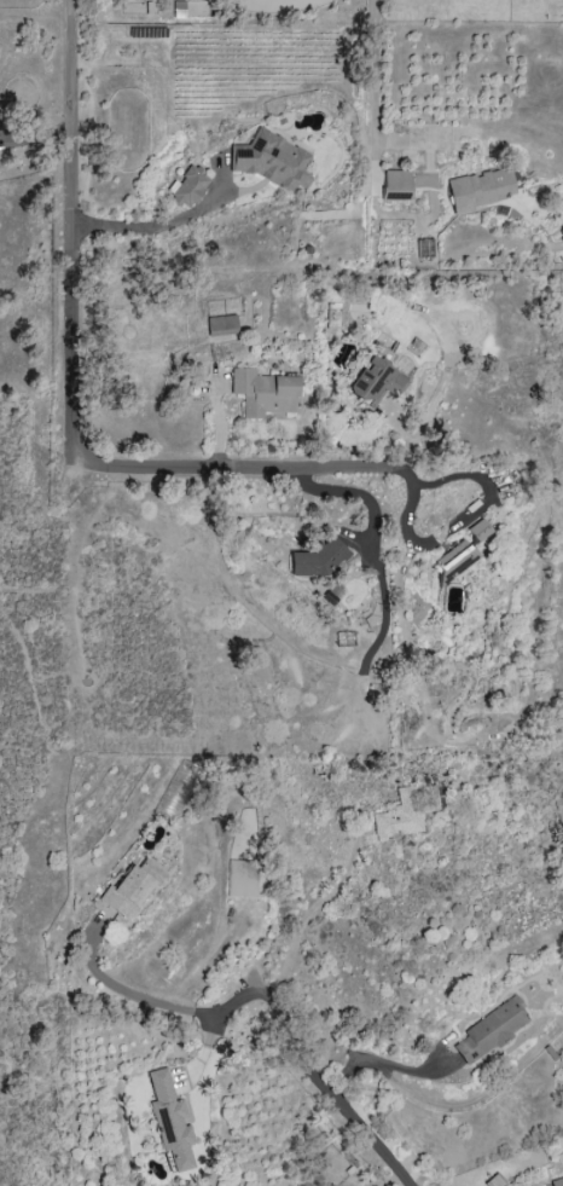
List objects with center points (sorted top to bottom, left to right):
road: (373, 97)
road: (37, 137)
road: (413, 137)
building: (272, 161)
building: (395, 185)
building: (187, 186)
building: (481, 190)
road: (161, 226)
road: (76, 227)
building: (220, 325)
building: (375, 382)
building: (263, 393)
road: (373, 468)
building: (478, 531)
building: (320, 559)
building: (454, 561)
road: (33, 591)
building: (178, 791)
building: (399, 816)
building: (242, 879)
building: (130, 889)
road: (320, 903)
road: (114, 987)
building: (492, 1030)
road: (378, 1060)
road: (306, 1065)
road: (474, 1099)
building: (169, 1121)
building: (494, 1181)
building: (557, 1182)

